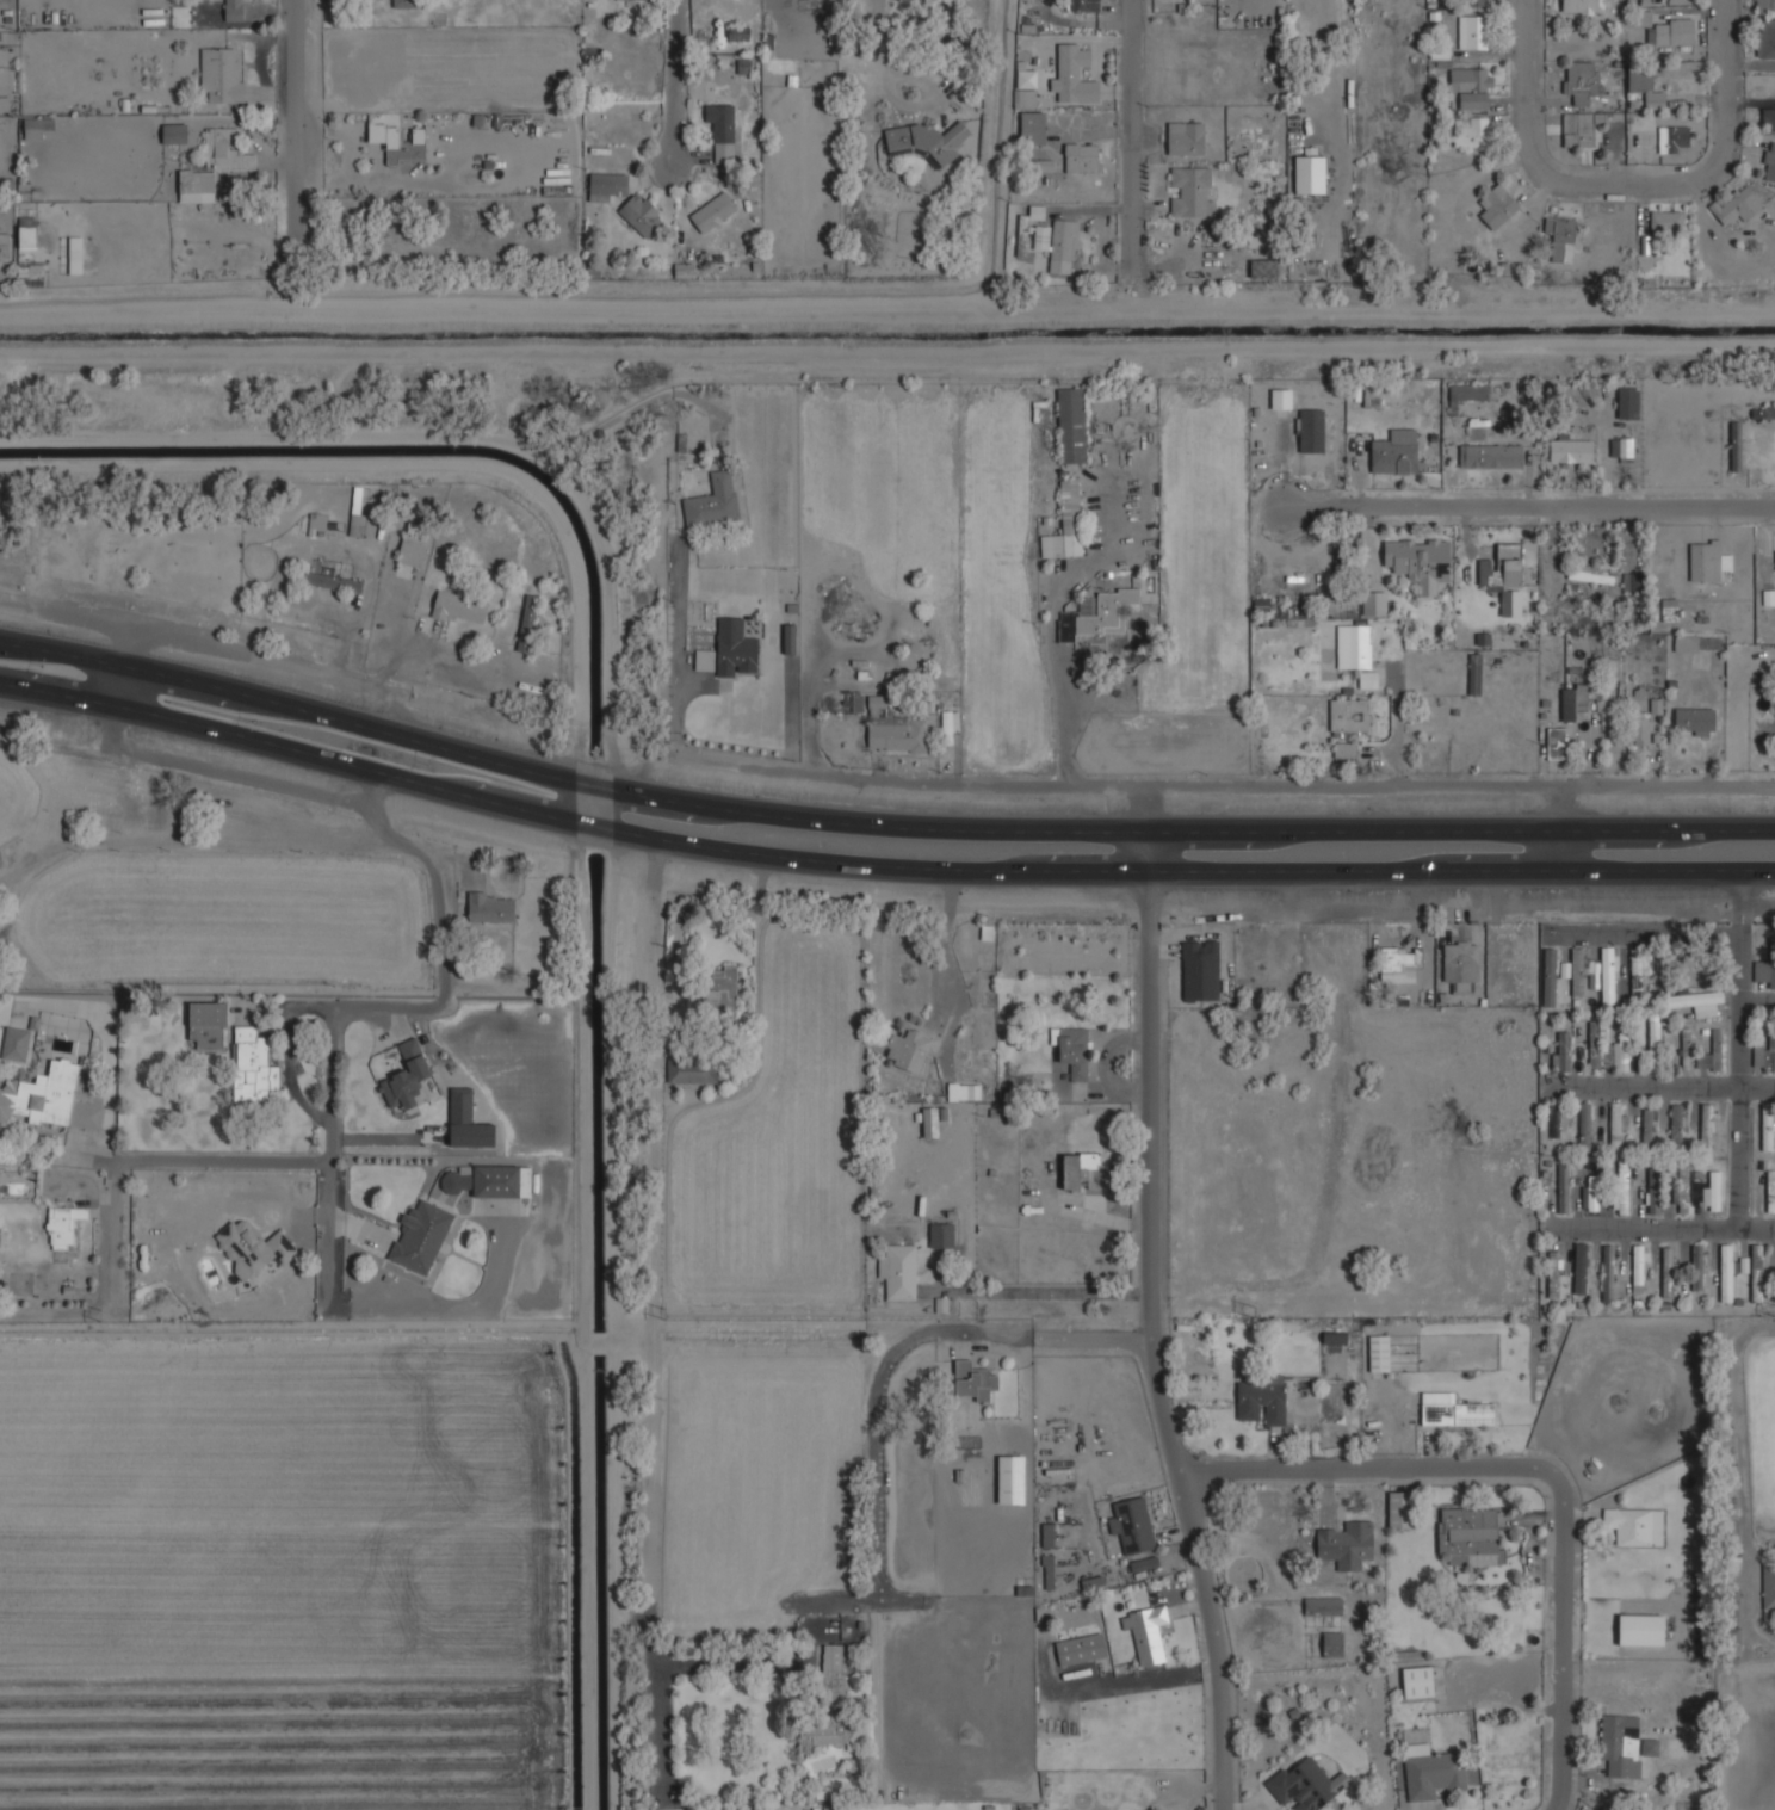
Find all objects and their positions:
building: (1477, 1)
building: (402, 2)
building: (1083, 5)
building: (1765, 5)
building: (1584, 6)
building: (235, 10)
building: (1640, 18)
building: (1473, 30)
building: (1671, 30)
building: (738, 31)
building: (1765, 36)
road: (883, 38)
building: (222, 72)
building: (1074, 75)
building: (1582, 79)
road: (681, 81)
building: (1472, 84)
building: (1646, 87)
road: (932, 97)
building: (1026, 98)
road: (302, 109)
building: (1768, 118)
building: (33, 126)
building: (1033, 126)
building: (722, 129)
building: (1578, 129)
building: (1471, 130)
building: (175, 131)
building: (1674, 136)
building: (1186, 137)
building: (928, 140)
building: (398, 141)
road: (1134, 144)
building: (1082, 156)
building: (1770, 160)
building: (215, 163)
building: (1038, 165)
road: (1627, 167)
building: (1310, 173)
building: (606, 186)
building: (1192, 190)
building: (1498, 204)
building: (1737, 205)
building: (713, 210)
building: (642, 214)
building: (1666, 220)
building: (1023, 234)
building: (1561, 236)
building: (26, 239)
building: (1059, 242)
building: (5, 246)
building: (75, 254)
building: (1263, 267)
building: (1468, 391)
building: (1365, 395)
building: (1282, 397)
building: (1628, 401)
building: (1764, 412)
building: (1071, 424)
building: (1311, 430)
building: (1737, 445)
building: (1622, 446)
building: (1570, 449)
building: (1491, 453)
building: (1397, 456)
building: (715, 501)
road: (1530, 507)
building: (322, 520)
building: (1066, 523)
building: (355, 524)
building: (412, 548)
building: (1707, 560)
building: (1420, 562)
building: (1340, 572)
building: (1591, 573)
building: (1505, 575)
building: (1633, 580)
building: (333, 581)
building: (1375, 603)
building: (1262, 604)
building: (459, 606)
building: (1669, 609)
building: (1097, 612)
building: (526, 623)
building: (788, 638)
building: (1697, 642)
building: (1354, 643)
building: (736, 647)
road: (1051, 650)
road: (453, 655)
road: (274, 660)
building: (1474, 672)
building: (1368, 678)
road: (119, 684)
building: (853, 699)
building: (1575, 700)
building: (1350, 716)
building: (1695, 719)
building: (948, 724)
building: (1640, 725)
building: (893, 727)
road: (1397, 730)
building: (1558, 741)
building: (1346, 748)
road: (567, 777)
road: (1335, 784)
road: (1649, 785)
crop: (17, 798)
road: (589, 803)
road: (567, 817)
road: (1460, 828)
road: (197, 839)
road: (1559, 850)
road: (1460, 871)
building: (489, 907)
crop: (218, 919)
road: (1643, 934)
road: (656, 955)
building: (1402, 958)
building: (1461, 962)
road: (946, 964)
building: (1577, 971)
building: (1635, 971)
building: (1764, 971)
building: (1591, 972)
building: (1548, 975)
building: (1606, 975)
building: (722, 987)
building: (1694, 999)
road: (1756, 999)
road: (402, 1005)
building: (206, 1025)
building: (1653, 1040)
building: (1592, 1045)
building: (911, 1046)
building: (1072, 1048)
building: (1686, 1049)
building: (1715, 1049)
building: (1564, 1051)
building: (1624, 1051)
building: (1765, 1051)
building: (252, 1065)
road: (1737, 1068)
building: (692, 1069)
building: (406, 1076)
road: (1672, 1088)
building: (965, 1091)
building: (42, 1094)
building: (85, 1114)
building: (1554, 1119)
building: (930, 1120)
building: (466, 1122)
building: (1675, 1125)
building: (1768, 1125)
building: (1584, 1126)
building: (1646, 1126)
building: (1615, 1128)
building: (1705, 1128)
building: (1080, 1168)
building: (456, 1180)
building: (500, 1180)
building: (1095, 1180)
building: (1622, 1185)
building: (1564, 1186)
building: (1653, 1187)
building: (1681, 1187)
building: (1770, 1188)
building: (1695, 1190)
building: (1712, 1190)
building: (1594, 1191)
building: (63, 1223)
road: (1647, 1229)
road: (326, 1233)
building: (941, 1233)
building: (420, 1237)
building: (252, 1247)
building: (1581, 1266)
building: (1700, 1266)
building: (1638, 1267)
building: (898, 1268)
building: (1669, 1270)
building: (1608, 1271)
building: (1727, 1271)
building: (1757, 1271)
building: (1553, 1273)
road: (1049, 1289)
power tower: (1242, 1303)
power tower: (98, 1312)
power tower: (1743, 1312)
power tower: (661, 1314)
road: (1158, 1322)
building: (1334, 1338)
building: (1380, 1352)
building: (973, 1379)
building: (1262, 1400)
building: (1454, 1409)
road: (1539, 1466)
building: (1012, 1477)
road: (1745, 1483)
building: (1398, 1508)
road: (876, 1521)
building: (1133, 1524)
building: (1635, 1524)
building: (1047, 1534)
building: (1470, 1534)
building: (1347, 1543)
building: (1143, 1563)
crop: (287, 1570)
building: (1047, 1570)
building: (1769, 1587)
building: (1324, 1605)
building: (1643, 1627)
building: (1148, 1630)
building: (1334, 1643)
building: (1081, 1648)
building: (1420, 1681)
building: (828, 1701)
building: (1625, 1743)
building: (1433, 1771)
building: (1307, 1784)
building: (1154, 1806)
building: (670, 1809)

